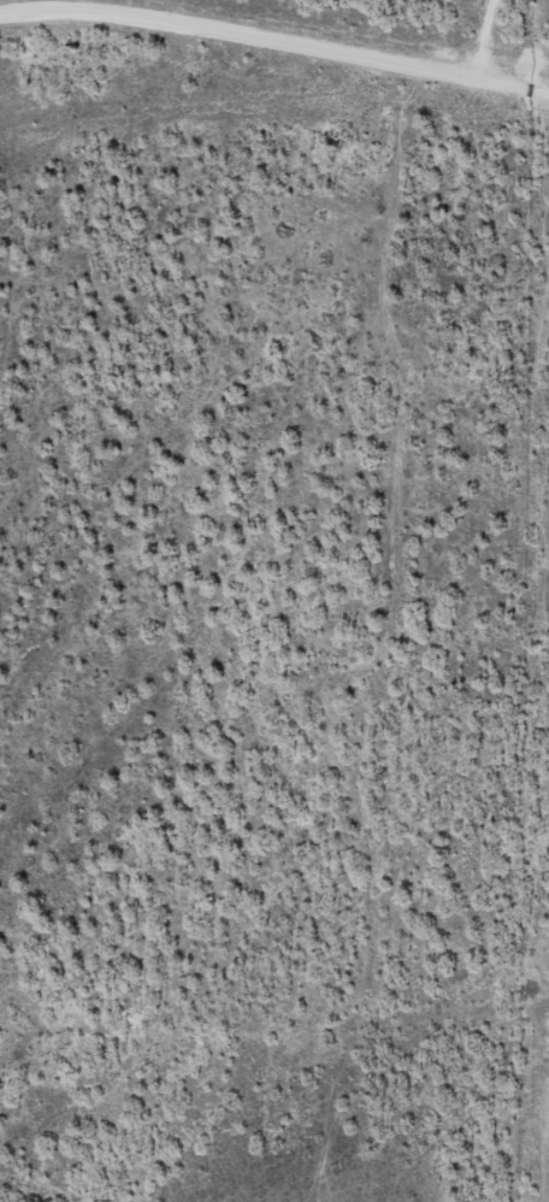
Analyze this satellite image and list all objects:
road: (390, 30)
road: (278, 46)
road: (545, 122)
road: (276, 1014)

